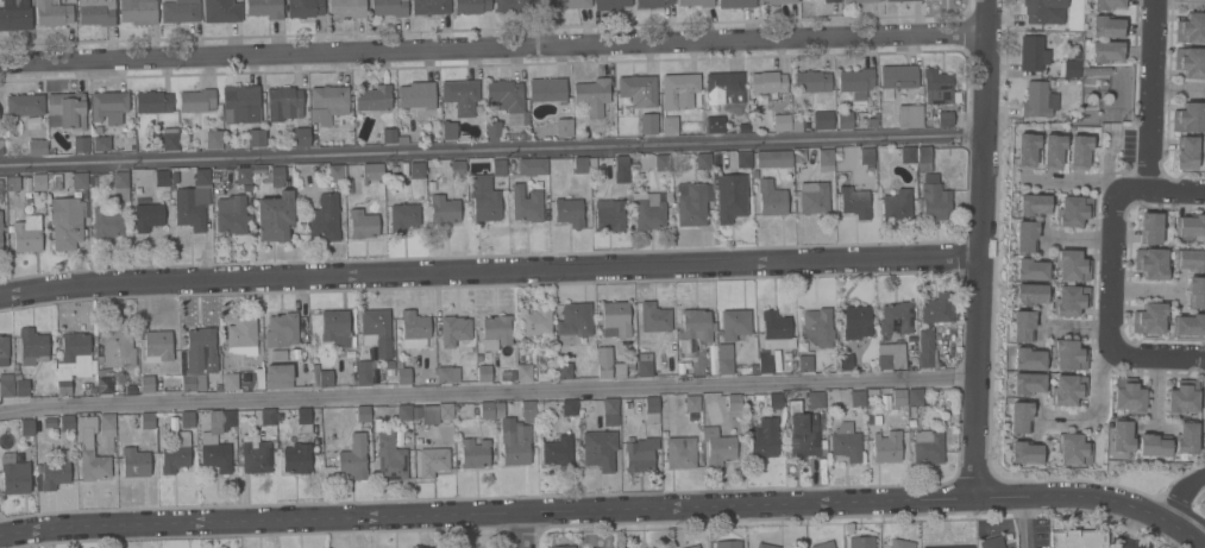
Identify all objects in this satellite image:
building: (900, 0)
building: (777, 1)
building: (831, 1)
building: (860, 1)
building: (695, 2)
building: (571, 4)
building: (651, 4)
building: (610, 5)
building: (739, 5)
building: (1107, 5)
building: (471, 6)
building: (513, 6)
building: (388, 7)
building: (429, 7)
building: (264, 8)
building: (305, 8)
building: (346, 8)
building: (180, 11)
building: (221, 11)
building: (1041, 11)
building: (52, 12)
building: (96, 12)
building: (138, 12)
building: (14, 15)
road: (540, 24)
building: (1106, 27)
building: (1191, 29)
road: (497, 49)
building: (1106, 51)
building: (1034, 55)
building: (1190, 62)
building: (1069, 69)
building: (1094, 71)
building: (898, 77)
building: (811, 82)
building: (855, 82)
building: (726, 87)
building: (936, 87)
building: (767, 88)
building: (547, 90)
building: (678, 90)
building: (638, 92)
building: (416, 95)
building: (460, 96)
building: (592, 96)
road: (1153, 96)
building: (372, 99)
building: (507, 100)
building: (196, 101)
building: (284, 101)
building: (1038, 101)
building: (152, 102)
building: (327, 103)
building: (240, 105)
building: (24, 106)
building: (108, 107)
building: (65, 111)
building: (909, 116)
building: (1188, 118)
building: (944, 119)
building: (782, 120)
building: (822, 120)
building: (843, 120)
building: (647, 124)
building: (670, 125)
building: (714, 125)
building: (564, 127)
building: (492, 130)
building: (448, 131)
building: (388, 136)
building: (301, 137)
building: (256, 138)
building: (169, 139)
building: (213, 139)
building: (81, 144)
building: (101, 144)
building: (1, 146)
building: (37, 147)
road: (495, 149)
building: (1025, 150)
building: (1053, 151)
building: (1079, 151)
building: (1186, 152)
building: (798, 155)
building: (908, 155)
building: (866, 156)
building: (743, 159)
building: (773, 159)
building: (923, 159)
building: (702, 160)
building: (824, 160)
building: (661, 163)
building: (583, 165)
building: (532, 166)
building: (632, 166)
building: (497, 168)
building: (457, 169)
building: (620, 169)
building: (416, 170)
building: (335, 172)
building: (371, 172)
building: (243, 176)
building: (276, 176)
building: (161, 178)
building: (79, 181)
building: (38, 182)
building: (52, 182)
road: (1075, 182)
building: (12, 184)
building: (120, 187)
building: (730, 197)
building: (812, 197)
building: (484, 199)
building: (771, 199)
building: (934, 200)
building: (193, 202)
building: (854, 202)
building: (691, 203)
building: (526, 204)
building: (1034, 204)
building: (897, 206)
building: (444, 210)
building: (648, 210)
building: (1073, 210)
building: (569, 213)
building: (232, 215)
building: (609, 215)
building: (148, 218)
building: (274, 218)
building: (402, 218)
building: (324, 220)
building: (65, 222)
building: (106, 223)
building: (362, 225)
building: (1190, 226)
building: (1149, 228)
building: (0, 232)
building: (26, 234)
building: (1024, 237)
road: (1113, 241)
road: (985, 250)
building: (1190, 260)
building: (1151, 264)
building: (1072, 266)
building: (1033, 270)
road: (491, 275)
building: (1195, 292)
building: (1030, 294)
building: (1071, 301)
building: (939, 308)
building: (653, 317)
building: (896, 317)
building: (1149, 319)
building: (615, 320)
building: (536, 322)
building: (855, 322)
building: (734, 325)
building: (1188, 325)
building: (572, 326)
building: (1022, 326)
building: (282, 329)
building: (335, 329)
building: (414, 330)
building: (453, 330)
building: (376, 332)
building: (496, 332)
building: (776, 332)
building: (241, 336)
building: (812, 336)
building: (692, 338)
building: (157, 346)
building: (32, 347)
building: (924, 347)
building: (118, 348)
building: (4, 349)
building: (891, 355)
building: (1068, 355)
building: (199, 358)
road: (1171, 359)
building: (1029, 360)
building: (76, 361)
building: (603, 361)
building: (764, 363)
building: (845, 363)
building: (644, 365)
building: (724, 366)
building: (390, 371)
building: (564, 371)
building: (619, 371)
building: (523, 372)
building: (363, 373)
building: (483, 373)
building: (402, 374)
building: (444, 374)
building: (277, 376)
building: (321, 377)
building: (432, 379)
building: (230, 382)
building: (146, 384)
building: (1028, 384)
building: (6, 385)
building: (105, 385)
building: (20, 386)
road: (488, 389)
building: (1067, 390)
building: (914, 396)
building: (1128, 396)
building: (898, 397)
building: (1182, 397)
building: (856, 398)
building: (816, 399)
building: (774, 401)
building: (691, 403)
building: (735, 405)
road: (1096, 407)
building: (569, 408)
building: (651, 410)
building: (440, 411)
building: (487, 411)
building: (527, 411)
building: (403, 412)
building: (609, 412)
building: (362, 414)
building: (415, 414)
building: (264, 417)
building: (1019, 418)
building: (187, 420)
building: (146, 421)
building: (302, 421)
building: (67, 423)
building: (27, 429)
building: (86, 430)
building: (802, 430)
building: (107, 432)
building: (1122, 435)
building: (764, 437)
building: (1186, 437)
building: (218, 441)
building: (514, 442)
building: (846, 442)
building: (1153, 445)
building: (717, 446)
building: (886, 447)
building: (928, 447)
building: (1073, 449)
building: (558, 451)
building: (600, 451)
building: (174, 452)
building: (473, 453)
building: (680, 453)
building: (1025, 453)
building: (256, 454)
building: (639, 454)
building: (353, 458)
building: (296, 459)
building: (391, 459)
building: (433, 461)
building: (134, 462)
building: (94, 466)
building: (55, 470)
building: (14, 475)
road: (1185, 498)
road: (608, 510)
road: (1024, 522)
road: (1125, 525)
road: (522, 530)
building: (1078, 538)
road: (1203, 541)
building: (861, 542)
building: (991, 542)
building: (900, 543)
building: (727, 544)
building: (823, 544)
building: (764, 546)
building: (563, 547)
building: (692, 547)
building: (952, 547)

